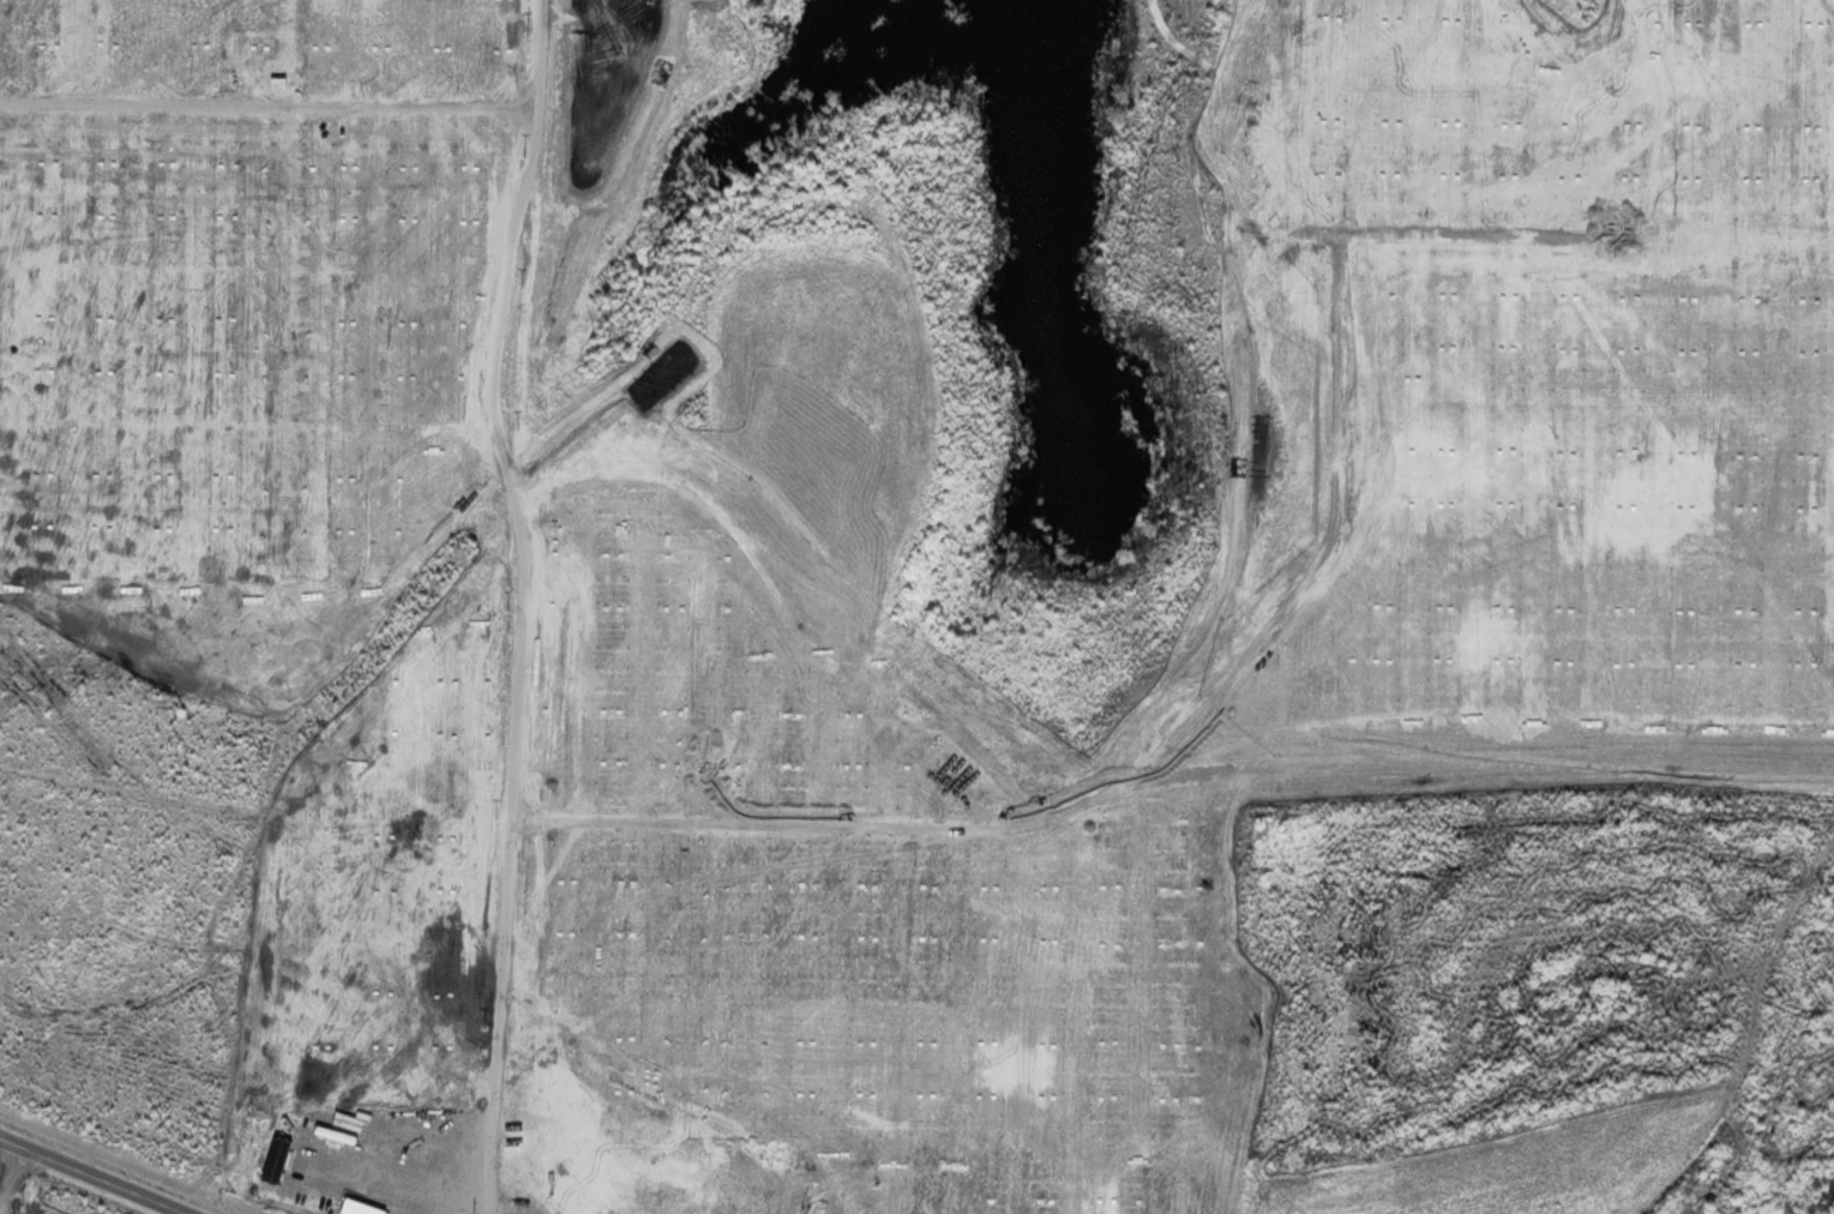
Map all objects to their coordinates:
solar farm: (1532, 379)
road: (518, 607)
solar farm: (536, 683)
road: (92, 1176)
solar farm: (24, 1204)

